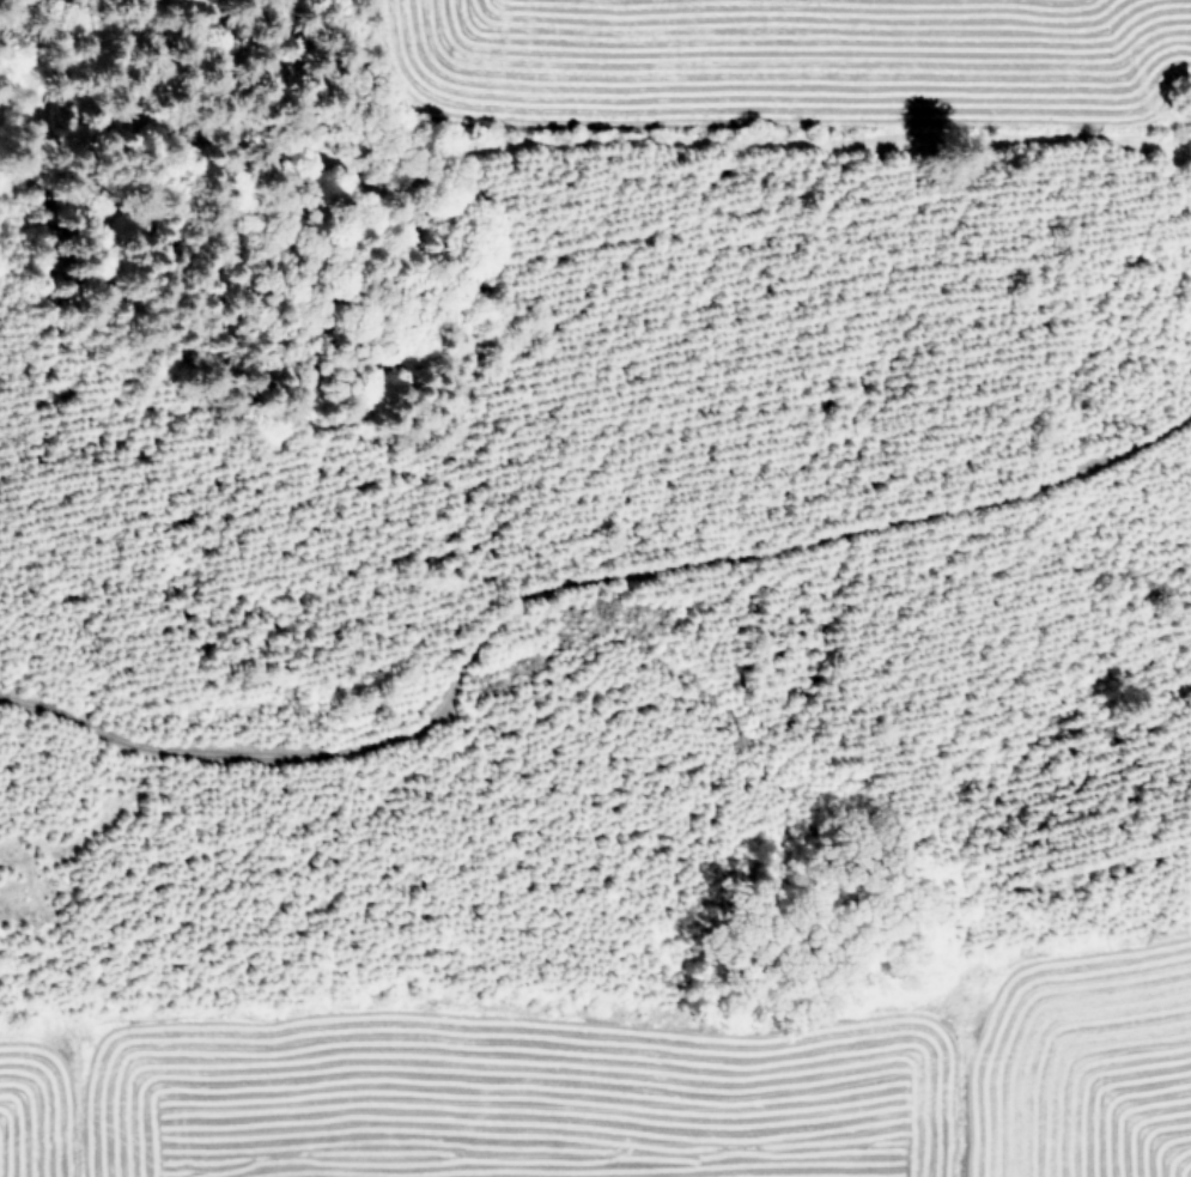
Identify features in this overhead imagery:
crop: (644, 1084)

